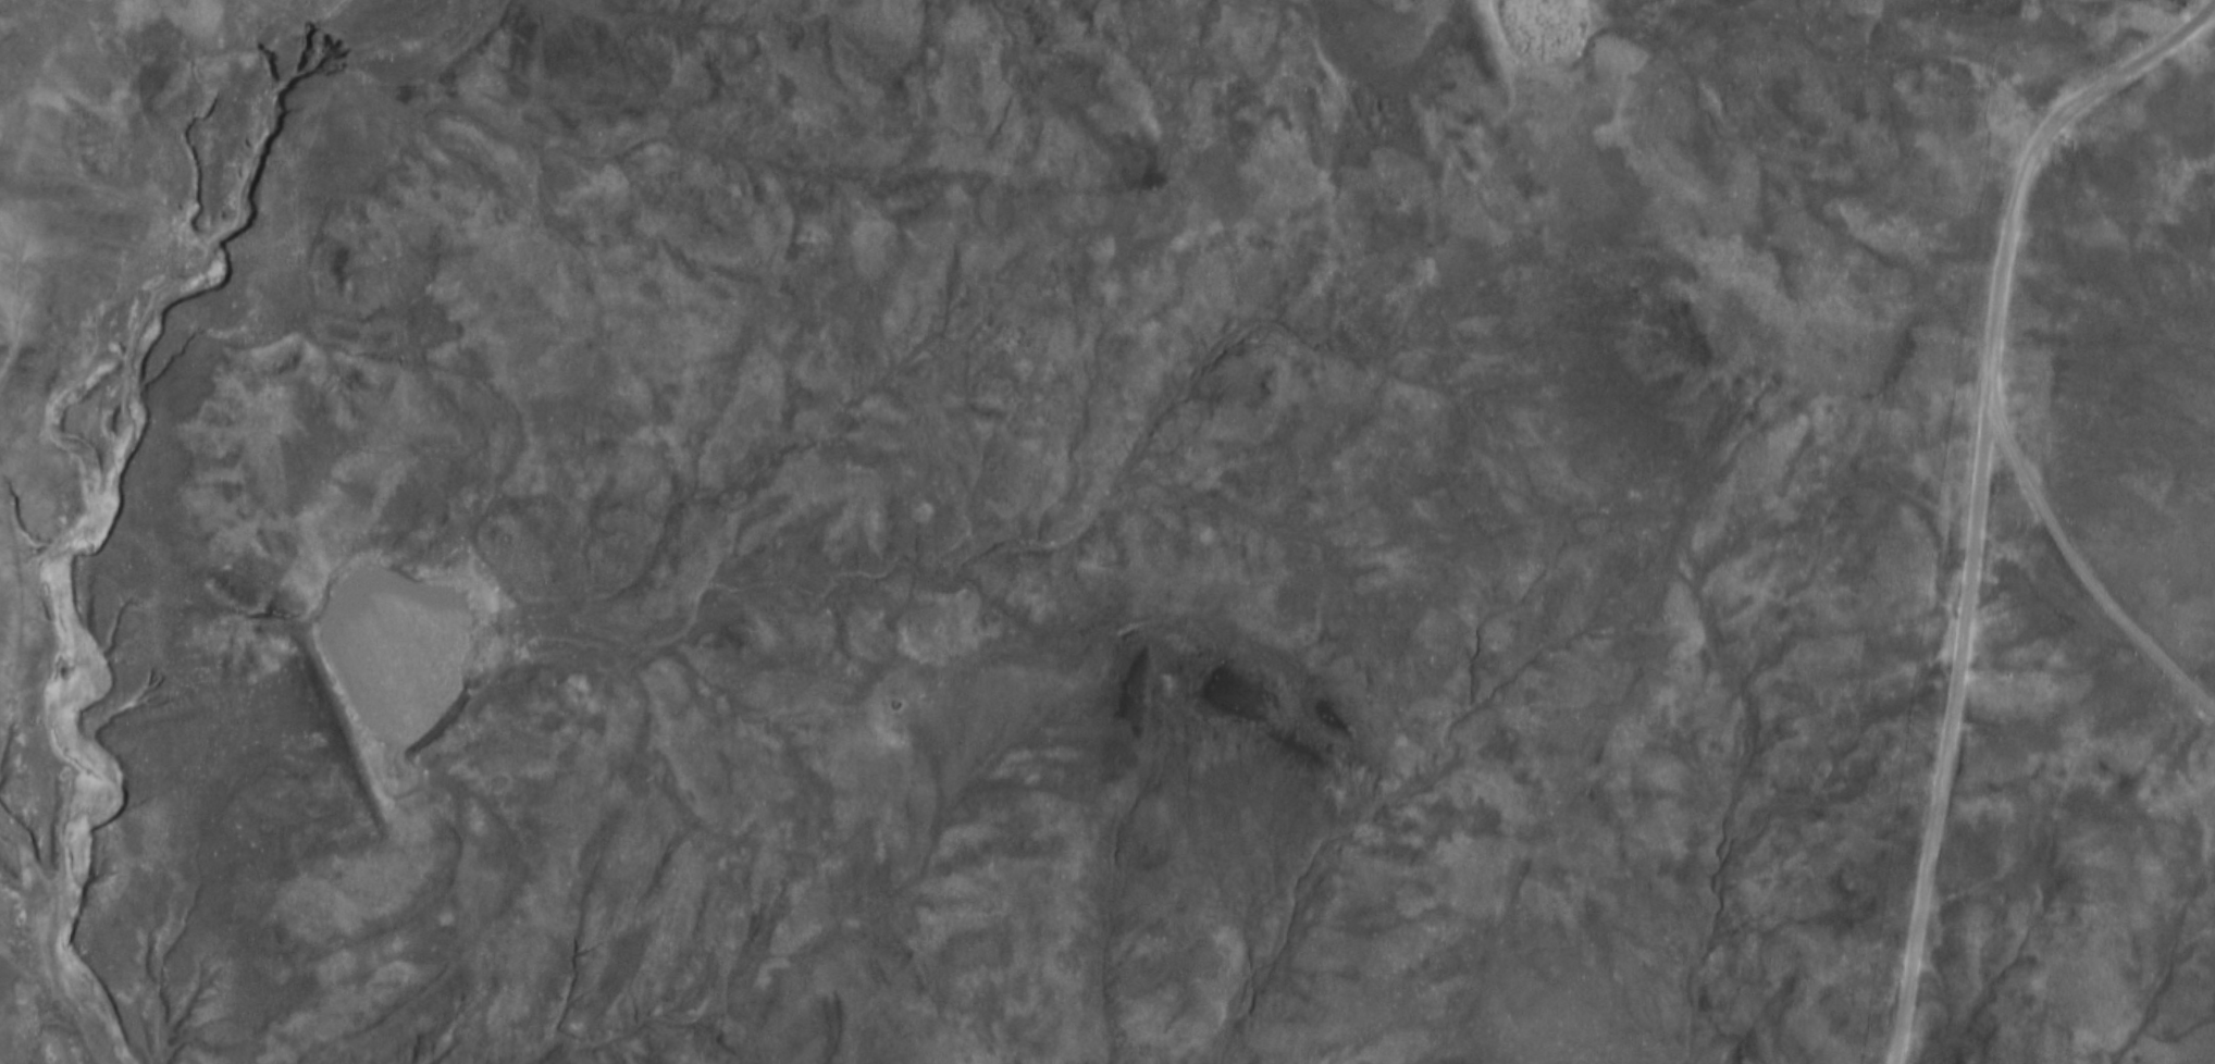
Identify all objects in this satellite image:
road: (1991, 351)
road: (1947, 740)

